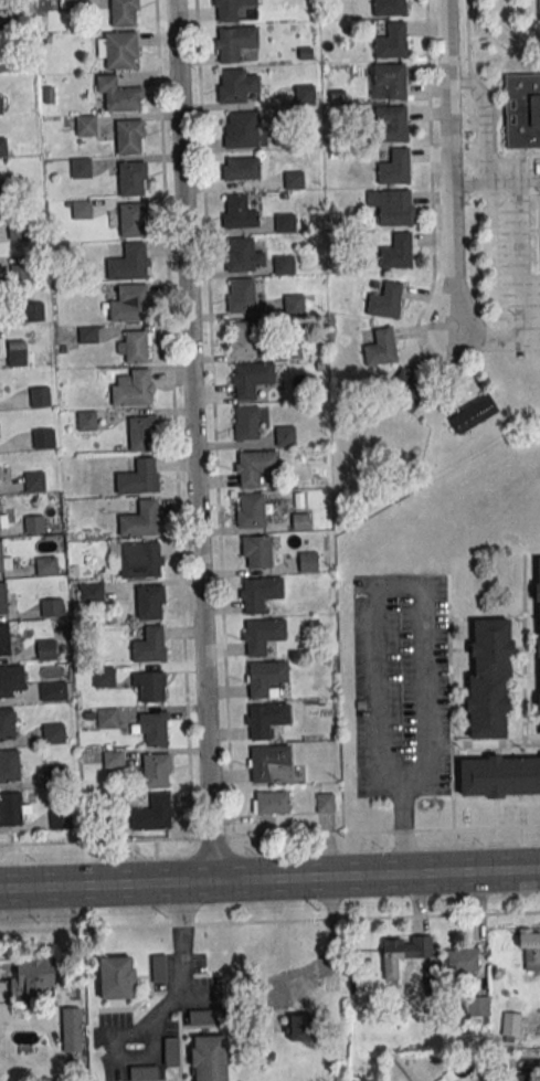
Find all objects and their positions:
building: (72, 4)
building: (389, 7)
building: (230, 9)
building: (539, 10)
building: (124, 13)
building: (8, 18)
building: (391, 41)
building: (236, 44)
building: (118, 49)
building: (235, 84)
building: (119, 94)
building: (303, 94)
building: (522, 110)
building: (390, 123)
building: (86, 125)
building: (241, 129)
road: (484, 134)
building: (129, 136)
building: (2, 147)
road: (448, 166)
building: (394, 167)
building: (81, 168)
building: (241, 169)
building: (131, 179)
building: (293, 180)
road: (512, 181)
building: (6, 188)
building: (393, 206)
building: (81, 209)
building: (239, 212)
building: (130, 220)
building: (285, 222)
building: (18, 230)
parking lot: (517, 247)
building: (400, 248)
building: (243, 255)
building: (129, 262)
building: (284, 264)
road: (516, 271)
building: (20, 272)
building: (241, 295)
building: (385, 300)
building: (130, 303)
building: (293, 304)
building: (35, 311)
building: (87, 335)
road: (486, 337)
building: (243, 338)
building: (134, 346)
building: (380, 347)
building: (0, 350)
building: (251, 380)
building: (133, 388)
building: (406, 390)
building: (40, 396)
building: (472, 413)
building: (85, 420)
building: (246, 423)
building: (142, 433)
building: (285, 436)
building: (42, 438)
road: (190, 441)
building: (254, 467)
building: (138, 476)
building: (34, 480)
building: (251, 510)
building: (2, 513)
building: (140, 518)
building: (300, 521)
building: (34, 524)
building: (256, 551)
building: (138, 558)
building: (307, 561)
building: (6, 562)
building: (45, 565)
building: (91, 592)
building: (261, 593)
building: (2, 597)
building: (149, 602)
building: (52, 606)
road: (377, 613)
building: (538, 630)
building: (262, 634)
building: (4, 640)
building: (149, 645)
building: (45, 649)
building: (104, 677)
building: (265, 677)
building: (490, 679)
building: (11, 680)
building: (149, 687)
building: (53, 691)
building: (107, 718)
building: (265, 719)
building: (7, 723)
building: (151, 728)
building: (53, 733)
building: (267, 761)
building: (9, 765)
building: (155, 770)
building: (54, 774)
building: (499, 775)
building: (272, 803)
building: (325, 803)
building: (12, 808)
building: (153, 813)
building: (60, 819)
road: (269, 836)
road: (269, 877)
road: (269, 921)
road: (333, 948)
building: (529, 948)
building: (403, 952)
building: (462, 960)
building: (156, 967)
building: (32, 975)
building: (116, 977)
road: (181, 988)
building: (478, 1008)
building: (202, 1018)
building: (72, 1025)
building: (510, 1026)
building: (303, 1027)
building: (171, 1051)
building: (210, 1058)
building: (144, 1073)
building: (517, 1077)

